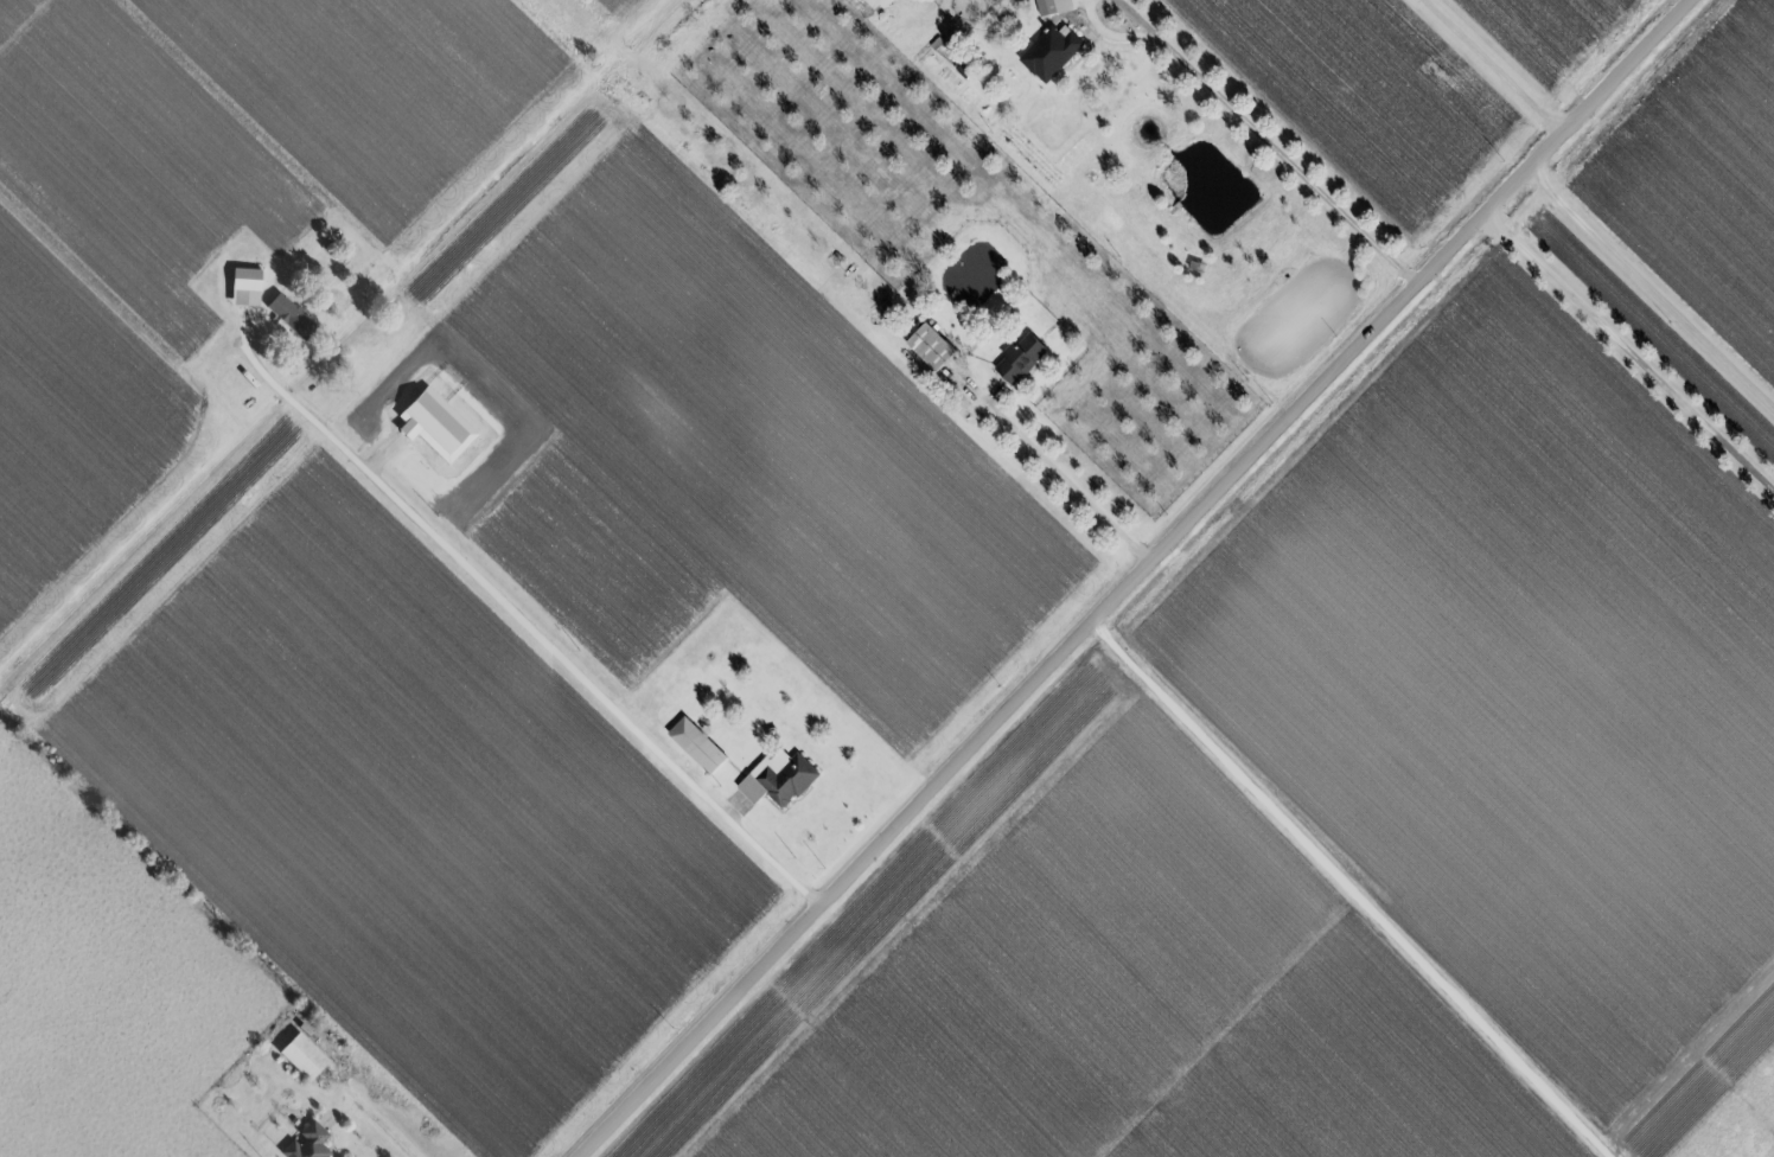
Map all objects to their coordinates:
building: (882, 4)
building: (1055, 6)
building: (1052, 52)
road: (1493, 63)
road: (1269, 142)
road: (1652, 285)
building: (247, 286)
building: (292, 315)
road: (1633, 343)
building: (933, 347)
building: (1021, 357)
road: (1066, 479)
road: (1135, 577)
road: (531, 634)
building: (698, 744)
building: (779, 778)
road: (1345, 889)
building: (304, 1055)
road: (383, 1132)
building: (310, 1143)

